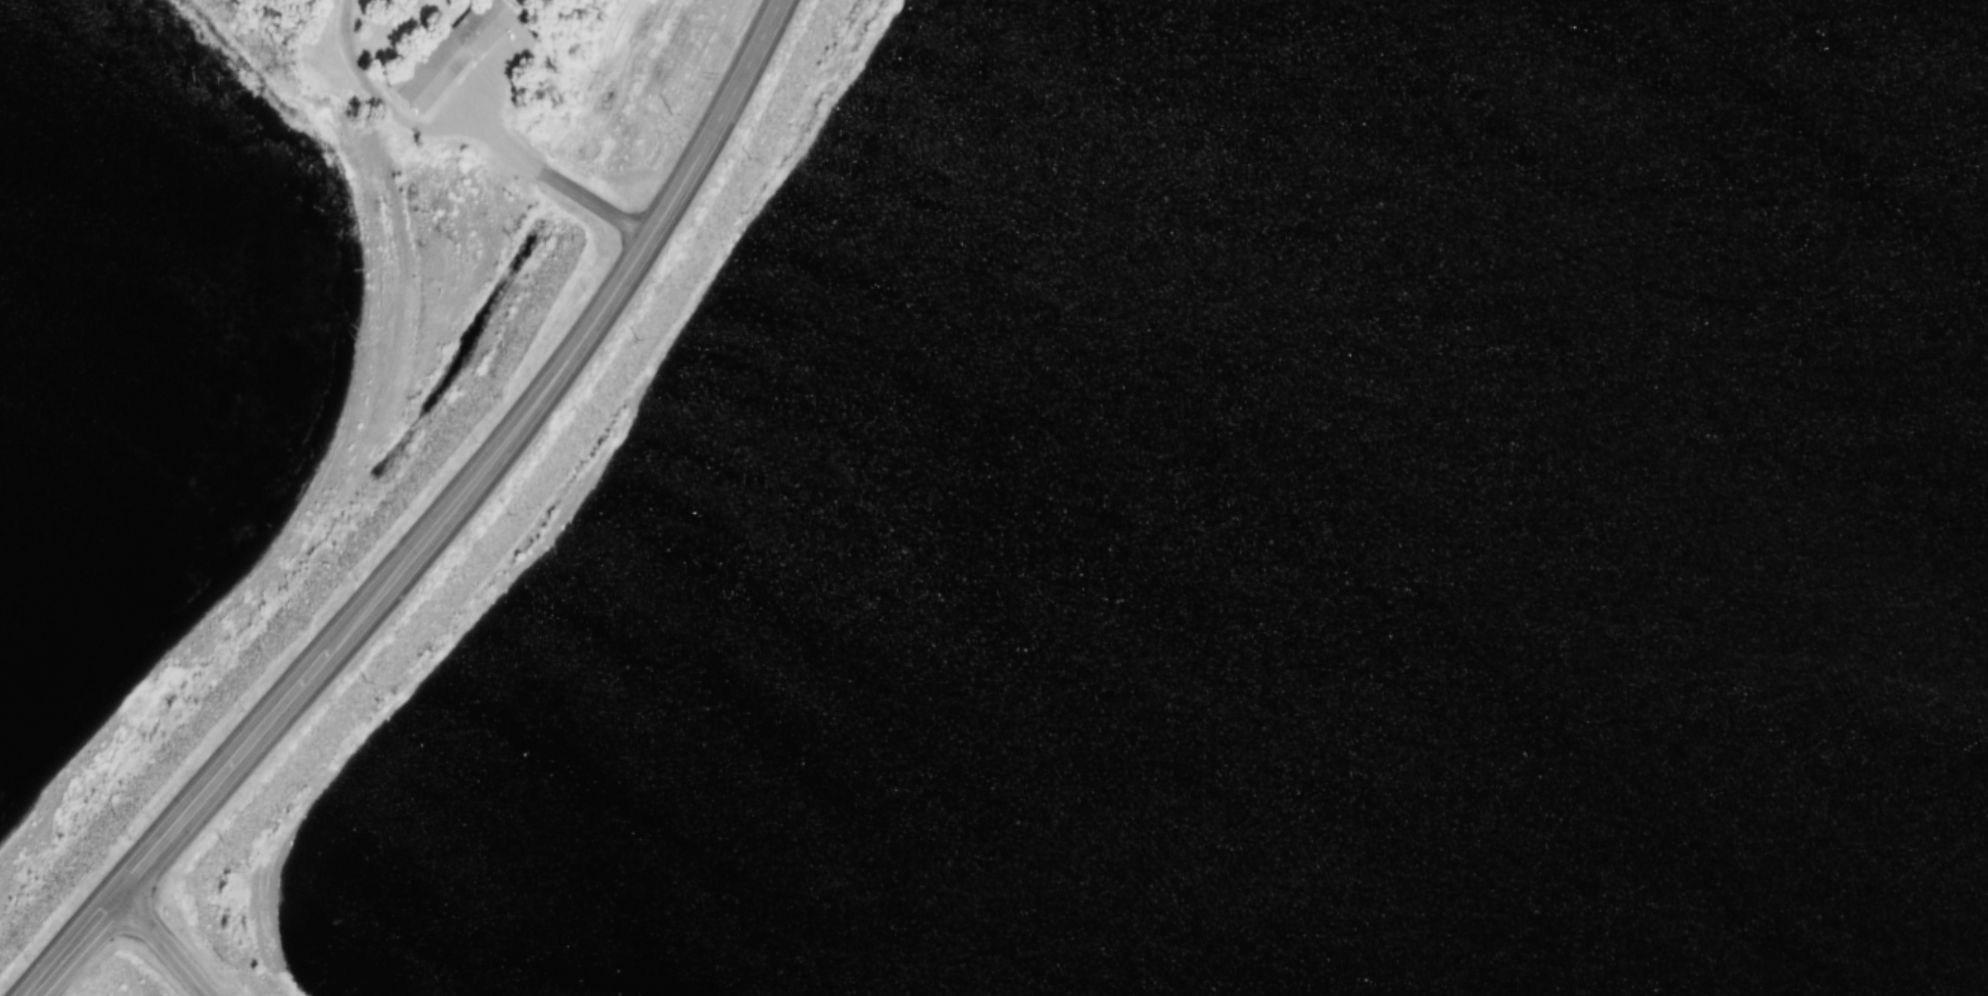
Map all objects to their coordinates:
building: (421, 7)
building: (435, 50)
road: (481, 79)
road: (355, 87)
road: (528, 163)
road: (540, 338)
road: (223, 746)
road: (66, 924)
road: (191, 924)

